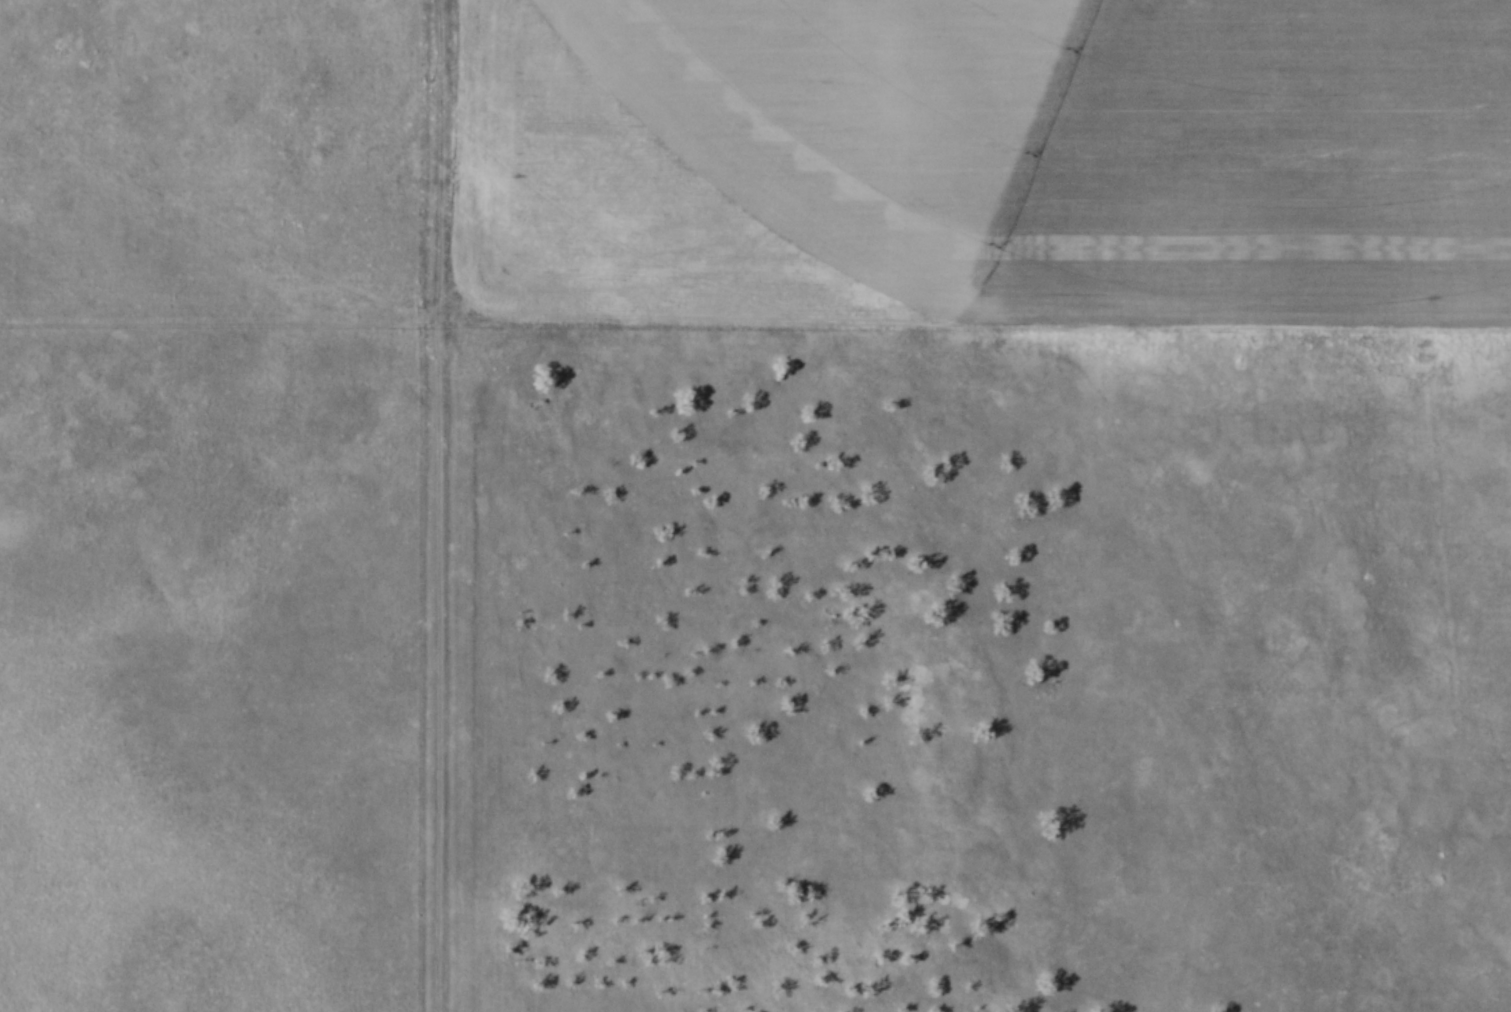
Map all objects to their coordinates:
road: (458, 506)

